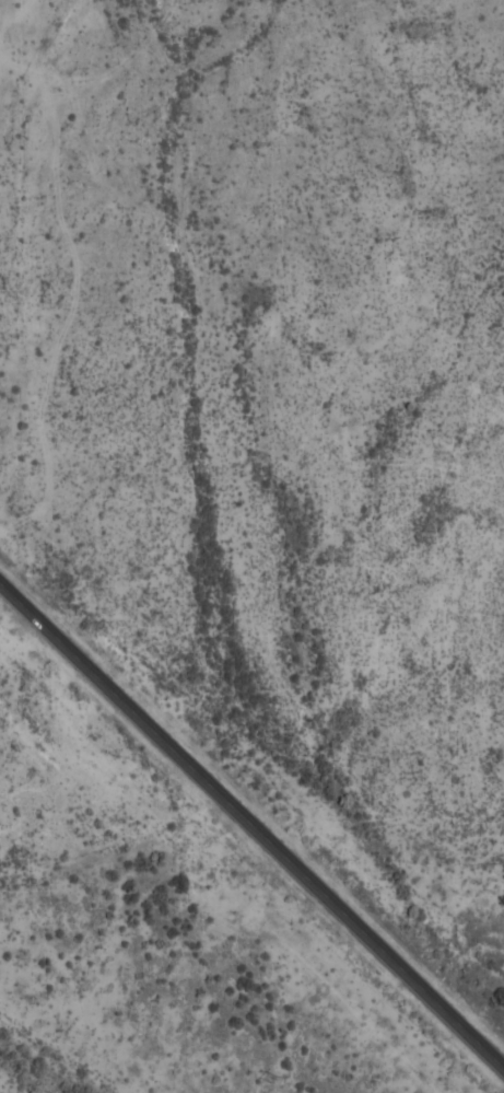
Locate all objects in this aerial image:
road: (251, 828)
power tower: (268, 1077)

